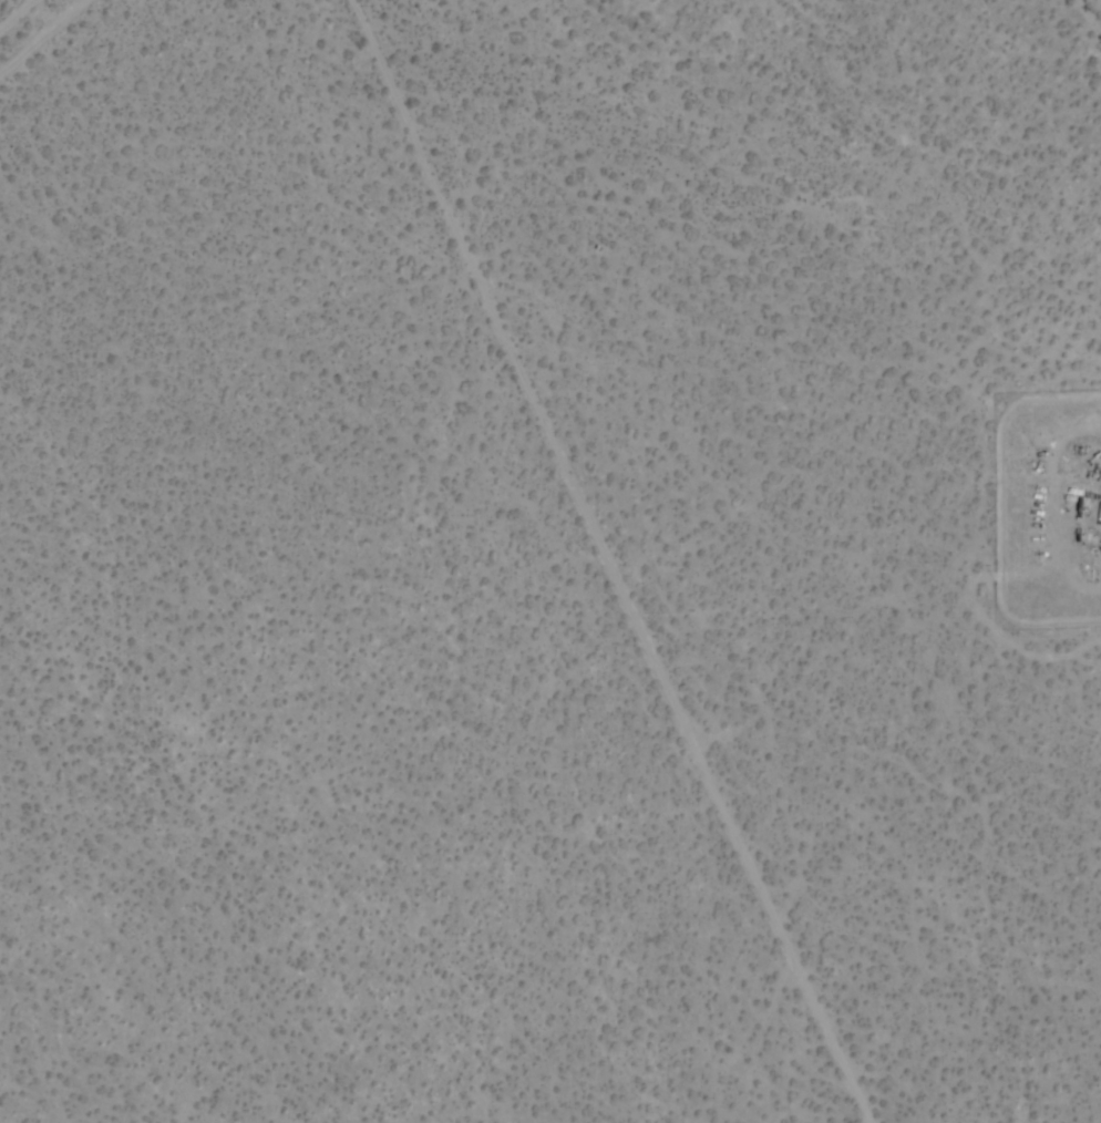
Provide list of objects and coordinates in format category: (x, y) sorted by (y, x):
road: (17, 14)
road: (42, 38)

